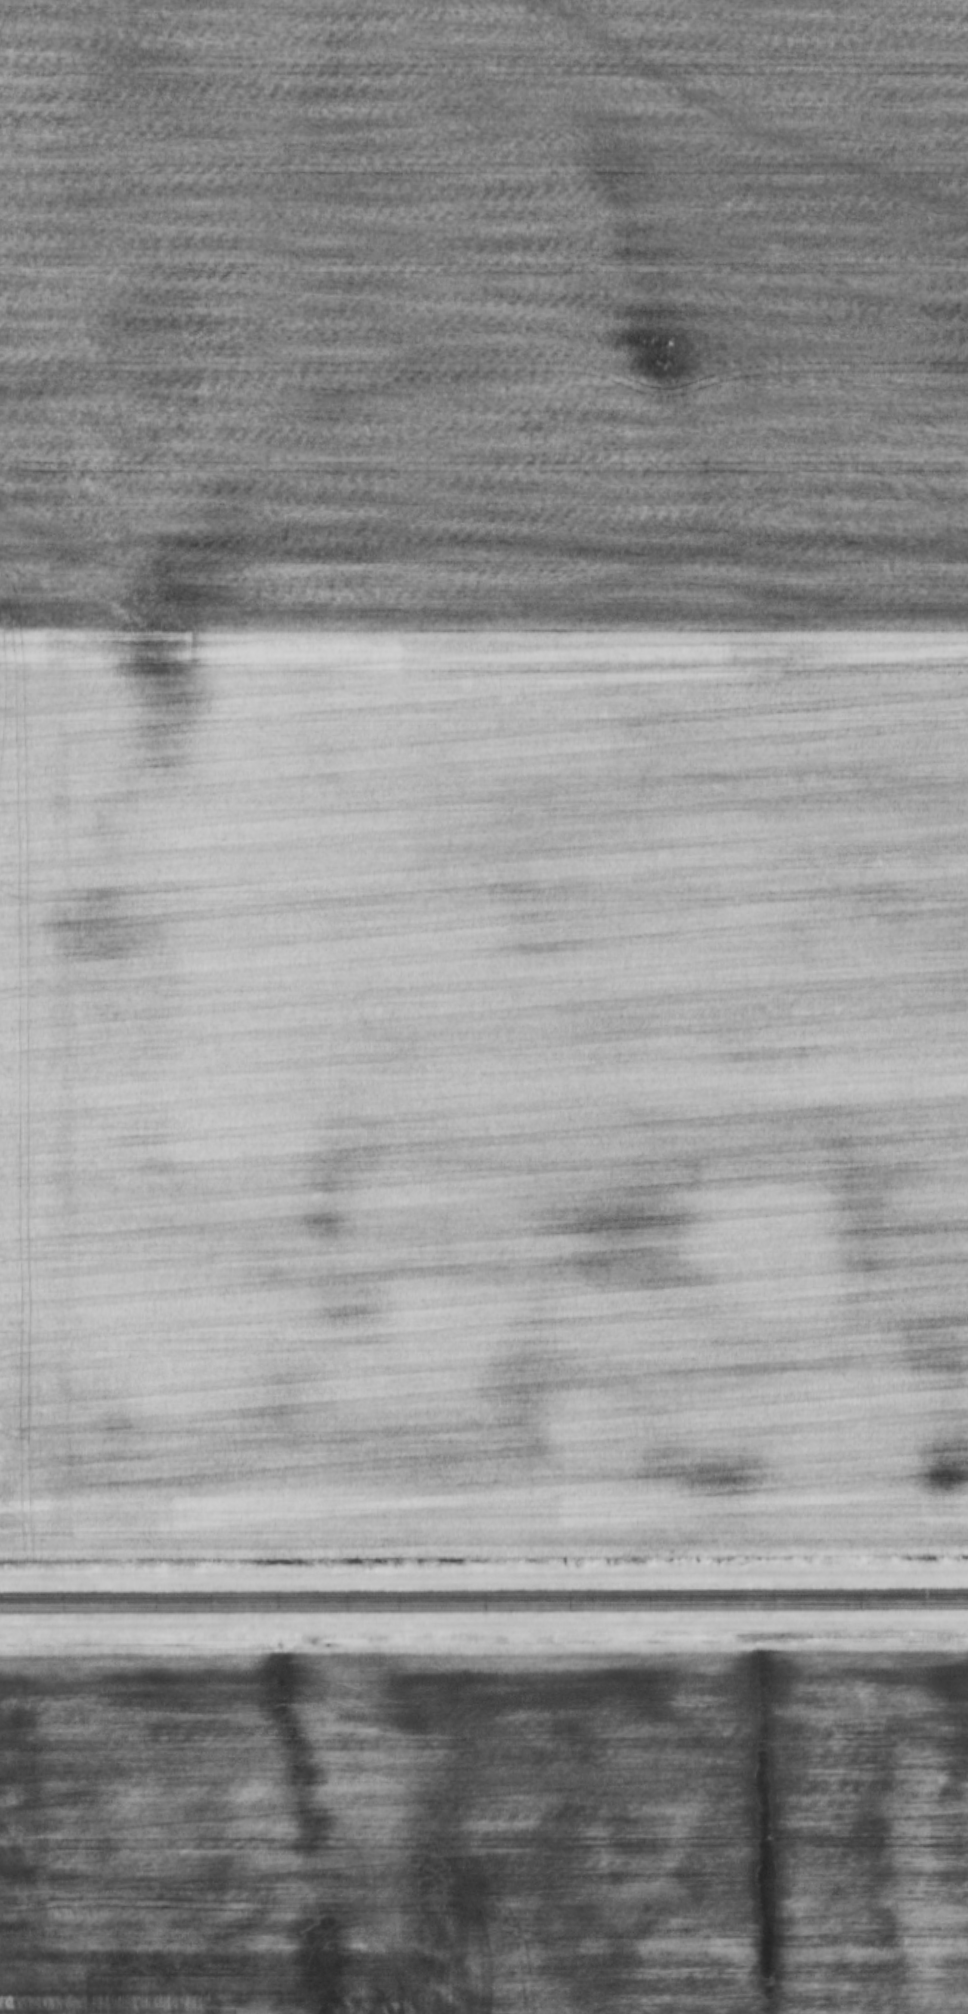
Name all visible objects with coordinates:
road: (484, 1603)

